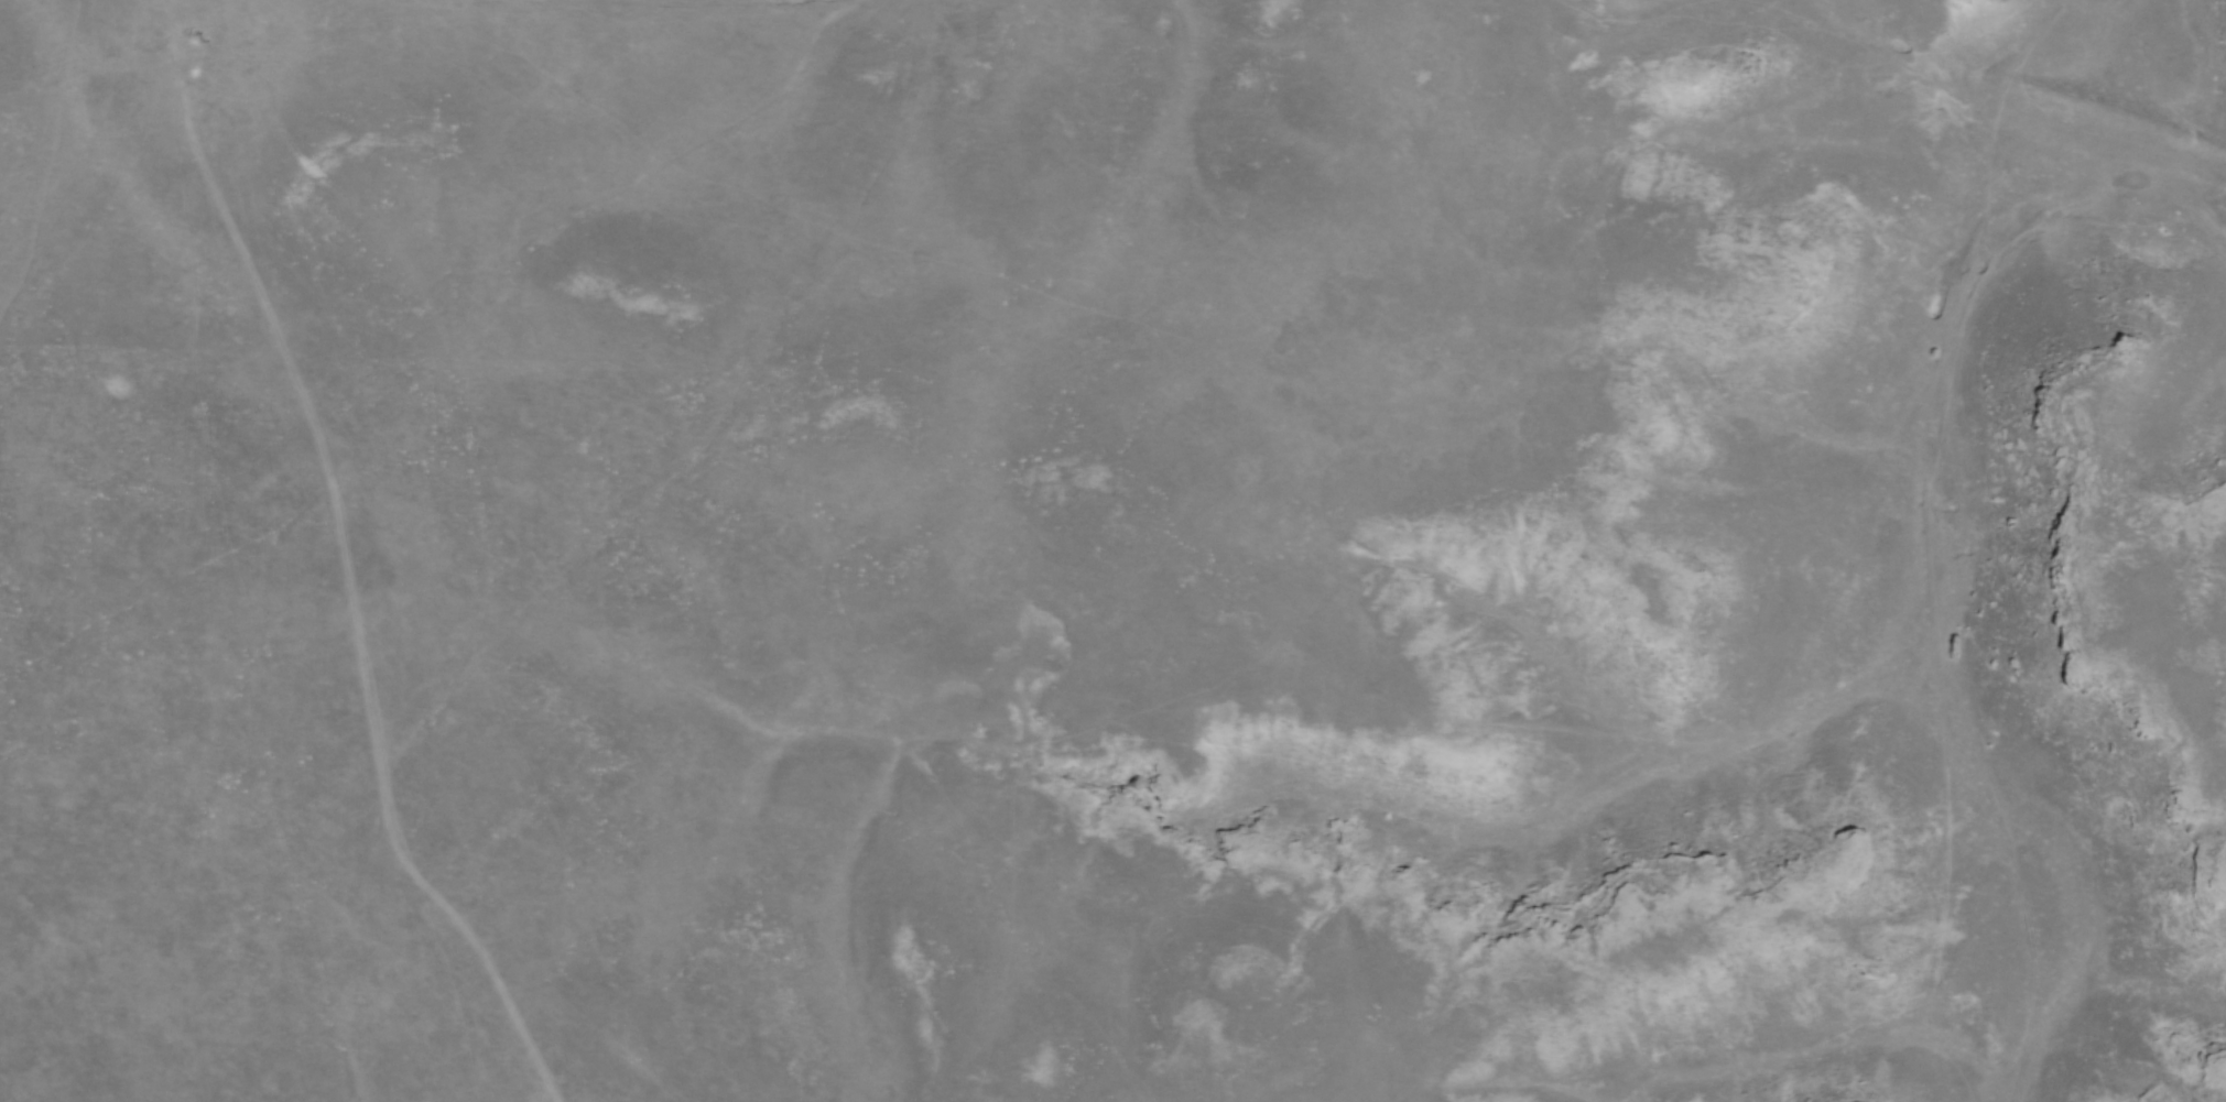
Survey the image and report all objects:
dam: (2097, 121)

